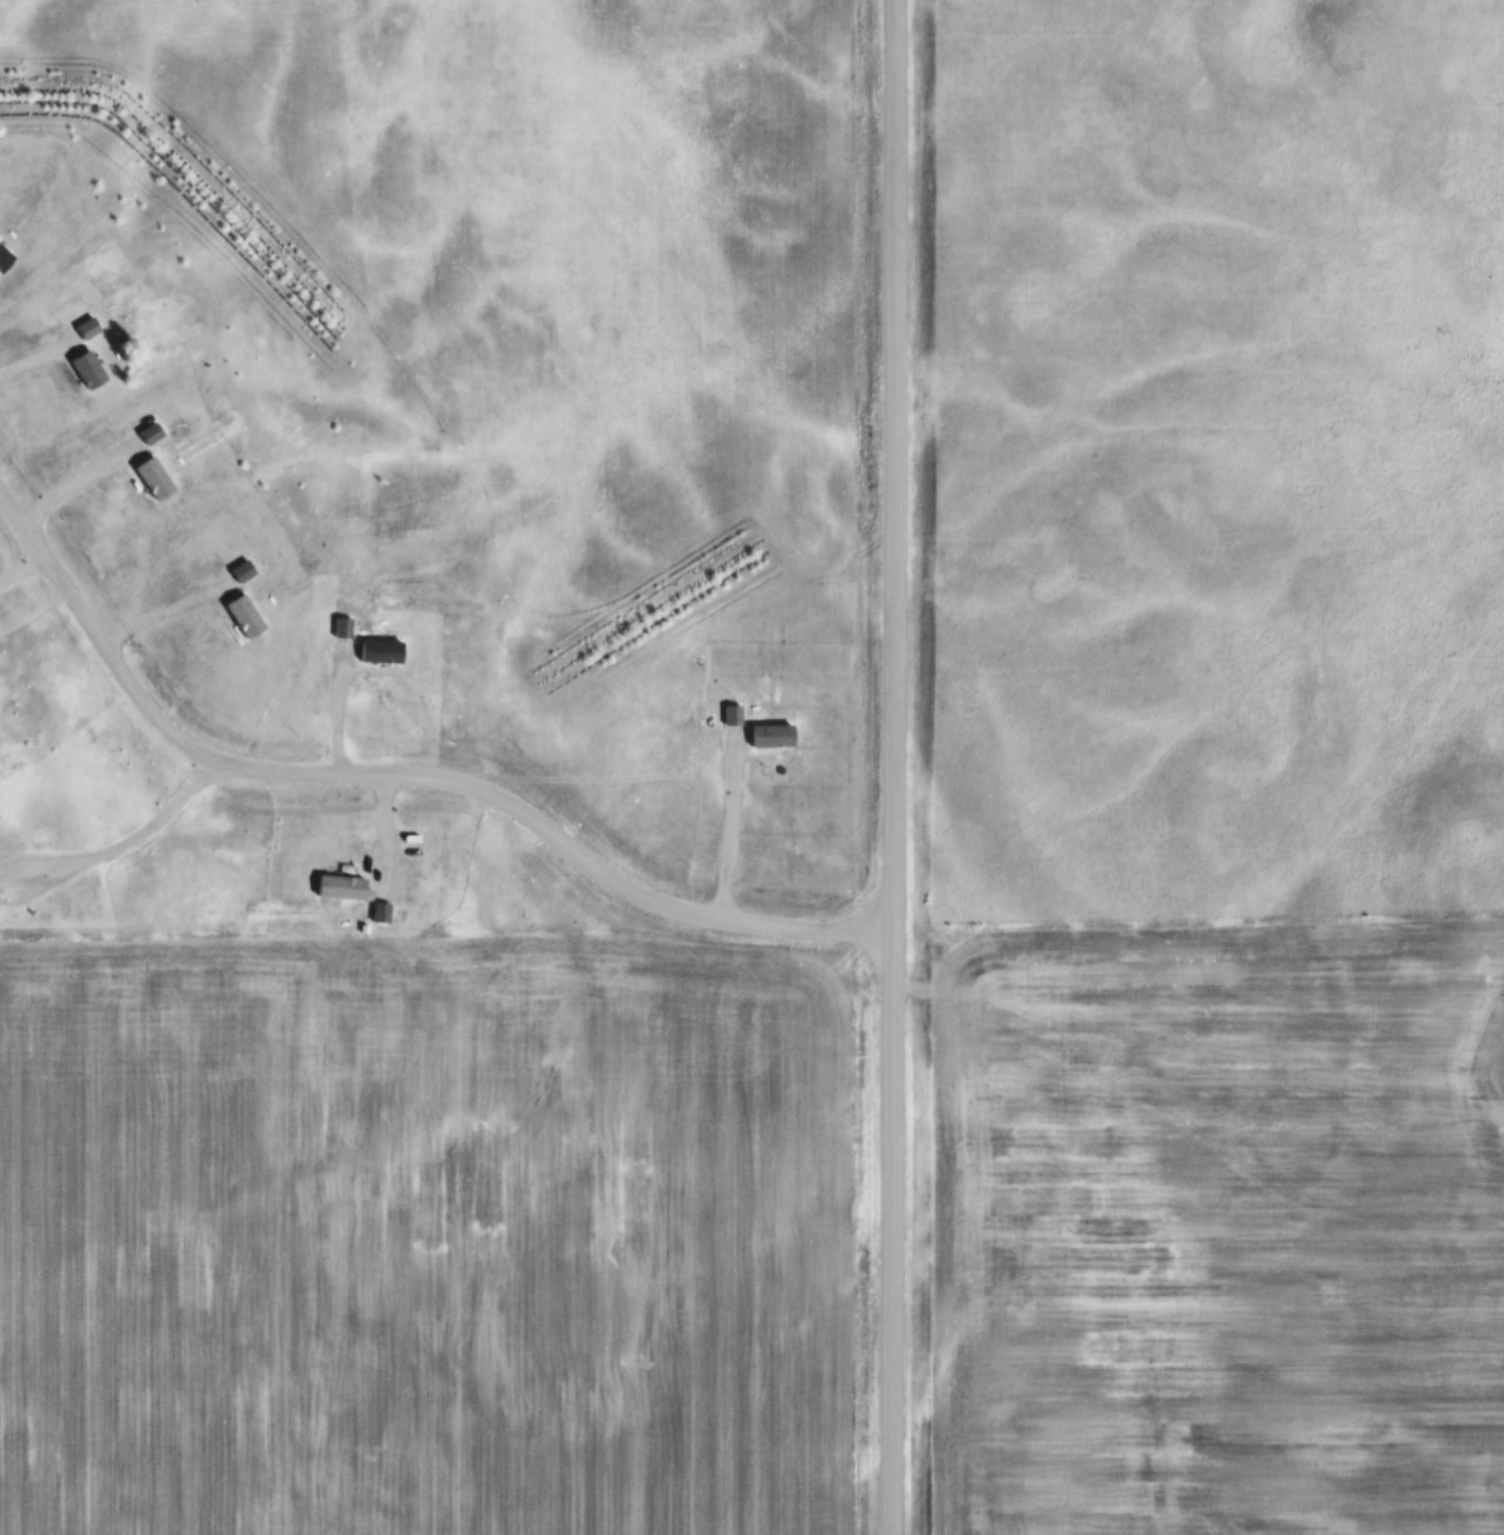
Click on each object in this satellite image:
building: (4, 259)
building: (89, 328)
road: (39, 354)
building: (90, 371)
building: (152, 434)
building: (156, 478)
road: (75, 481)
building: (244, 571)
road: (168, 609)
building: (246, 617)
building: (343, 629)
building: (381, 650)
road: (342, 707)
building: (733, 716)
building: (768, 737)
road: (894, 767)
road: (400, 771)
road: (152, 822)
road: (37, 859)
road: (41, 884)
building: (340, 888)
building: (380, 915)
building: (365, 930)

